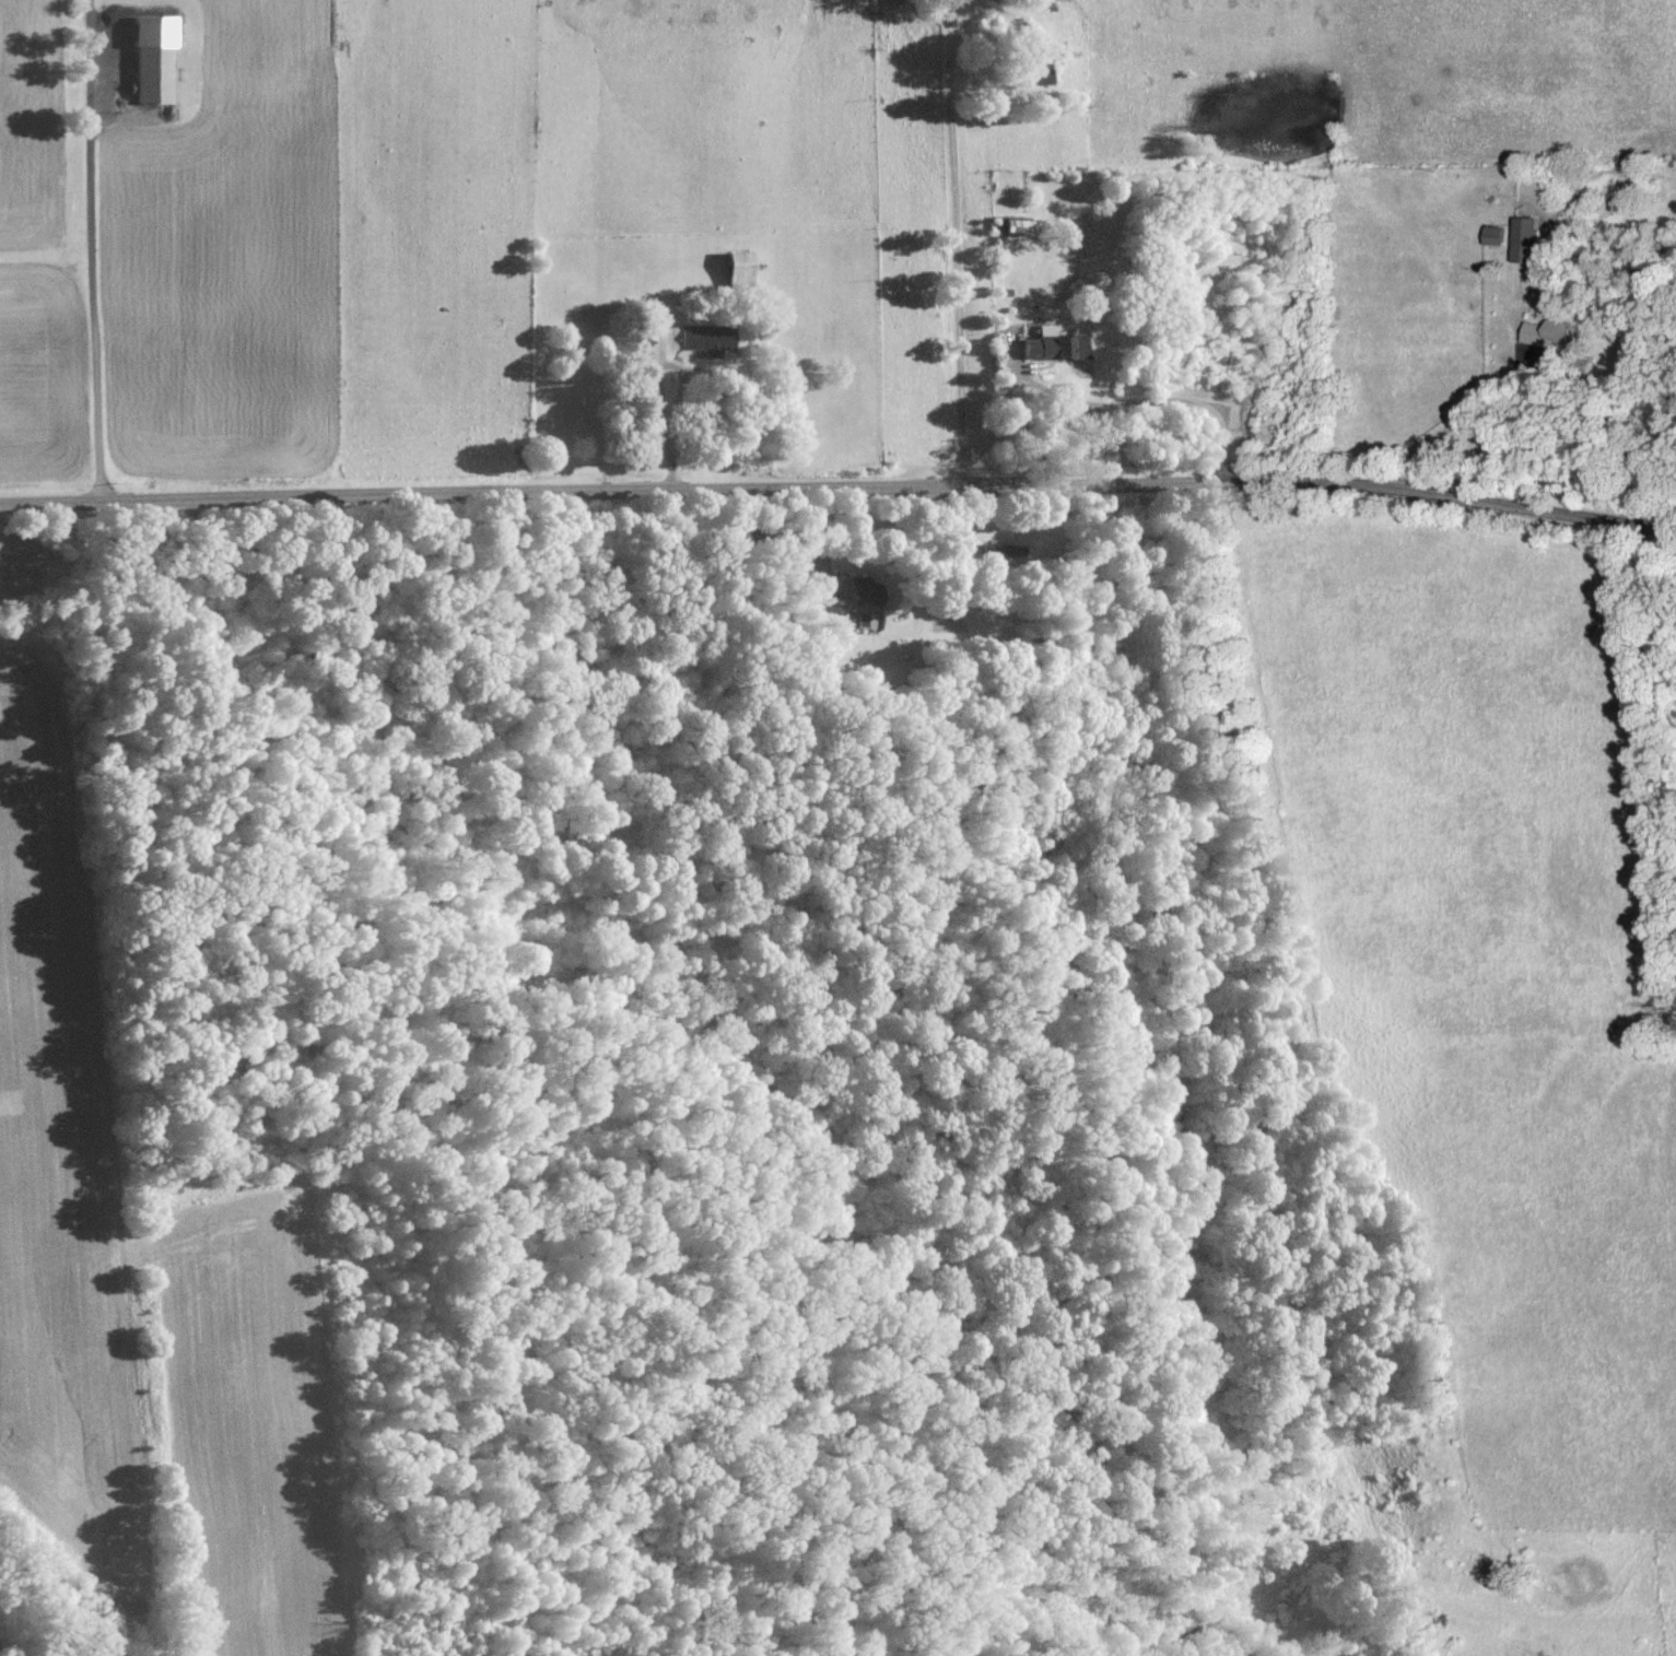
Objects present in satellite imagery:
building: (154, 58)
building: (1020, 223)
building: (1498, 234)
building: (1528, 238)
road: (950, 242)
building: (741, 267)
building: (1547, 332)
building: (710, 338)
building: (1055, 344)
road: (840, 494)
building: (866, 589)

